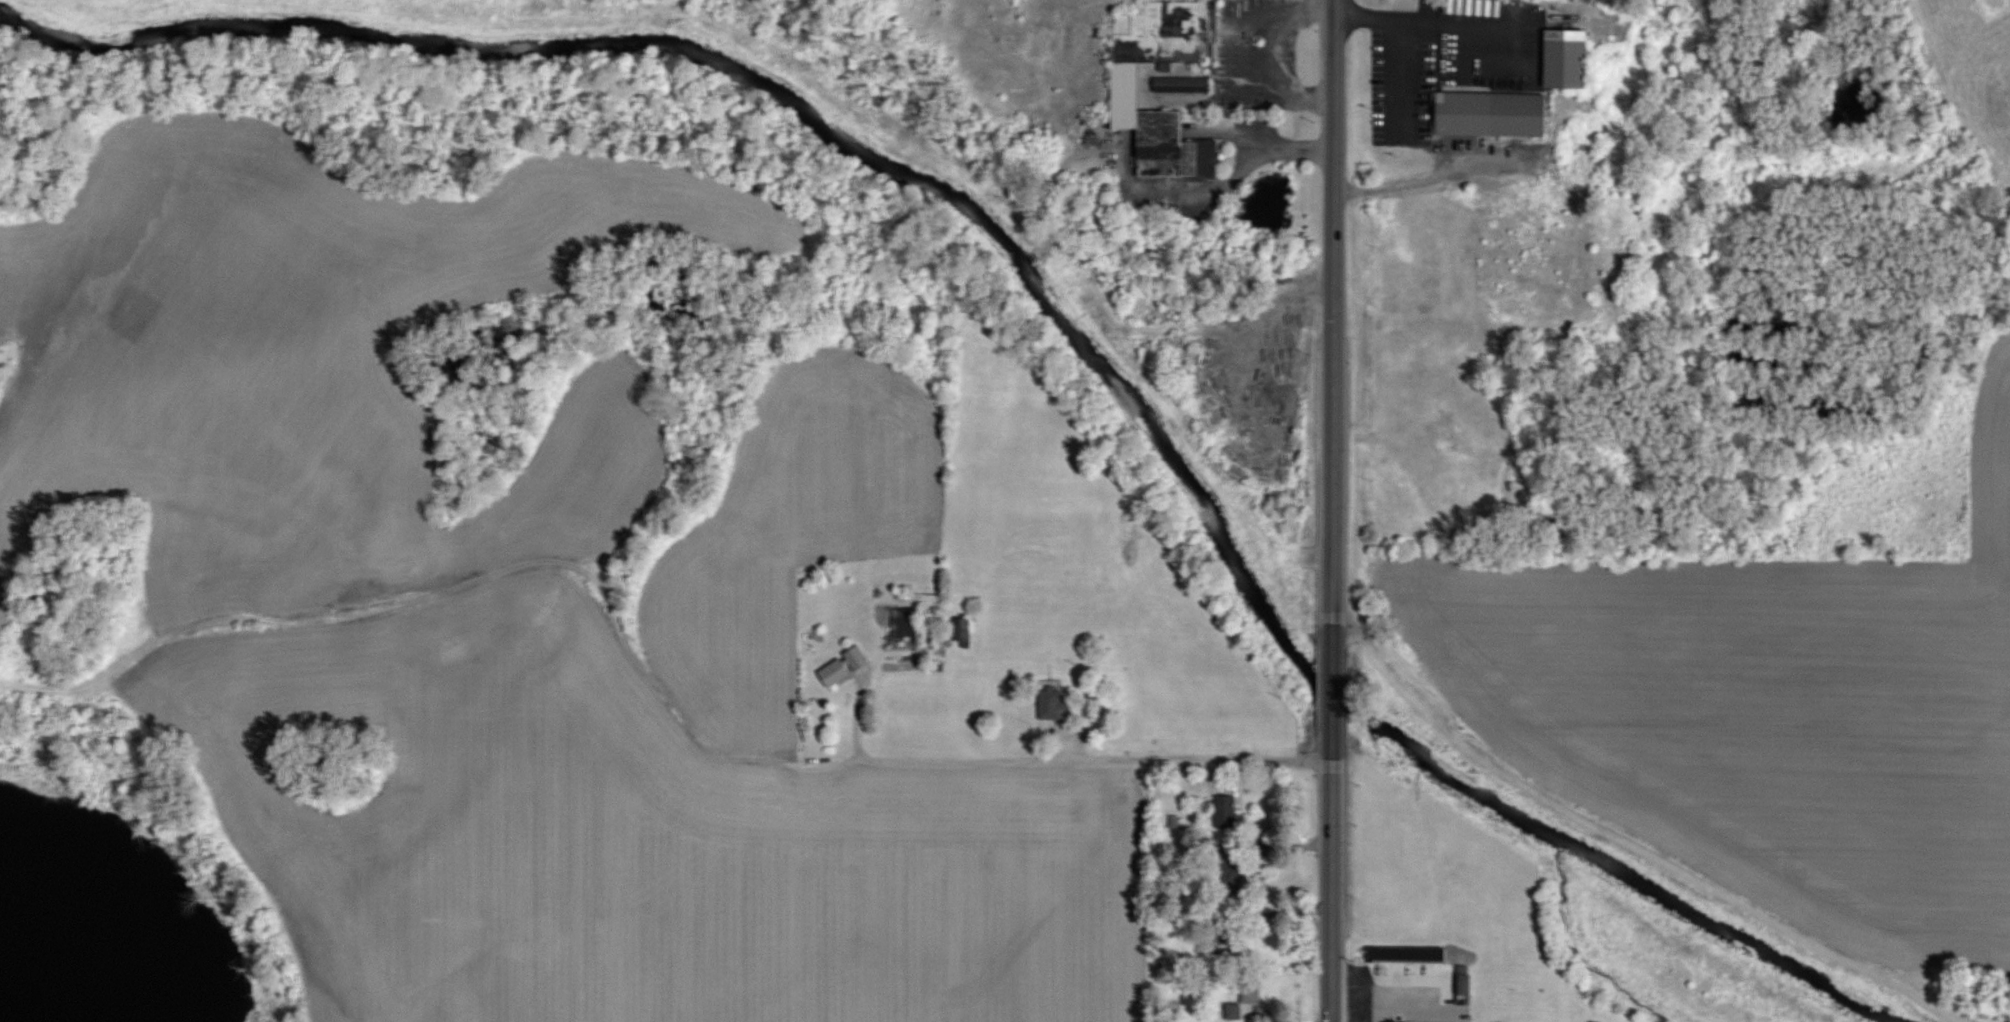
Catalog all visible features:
road: (1430, 22)
building: (1569, 63)
building: (1183, 84)
building: (1128, 86)
building: (1479, 98)
road: (1430, 144)
road: (1328, 510)
building: (907, 626)
building: (836, 673)
building: (1053, 705)
road: (1072, 740)
road: (1045, 756)
building: (1228, 811)
building: (1395, 954)
road: (1384, 976)
building: (1466, 984)
building: (1241, 1002)

